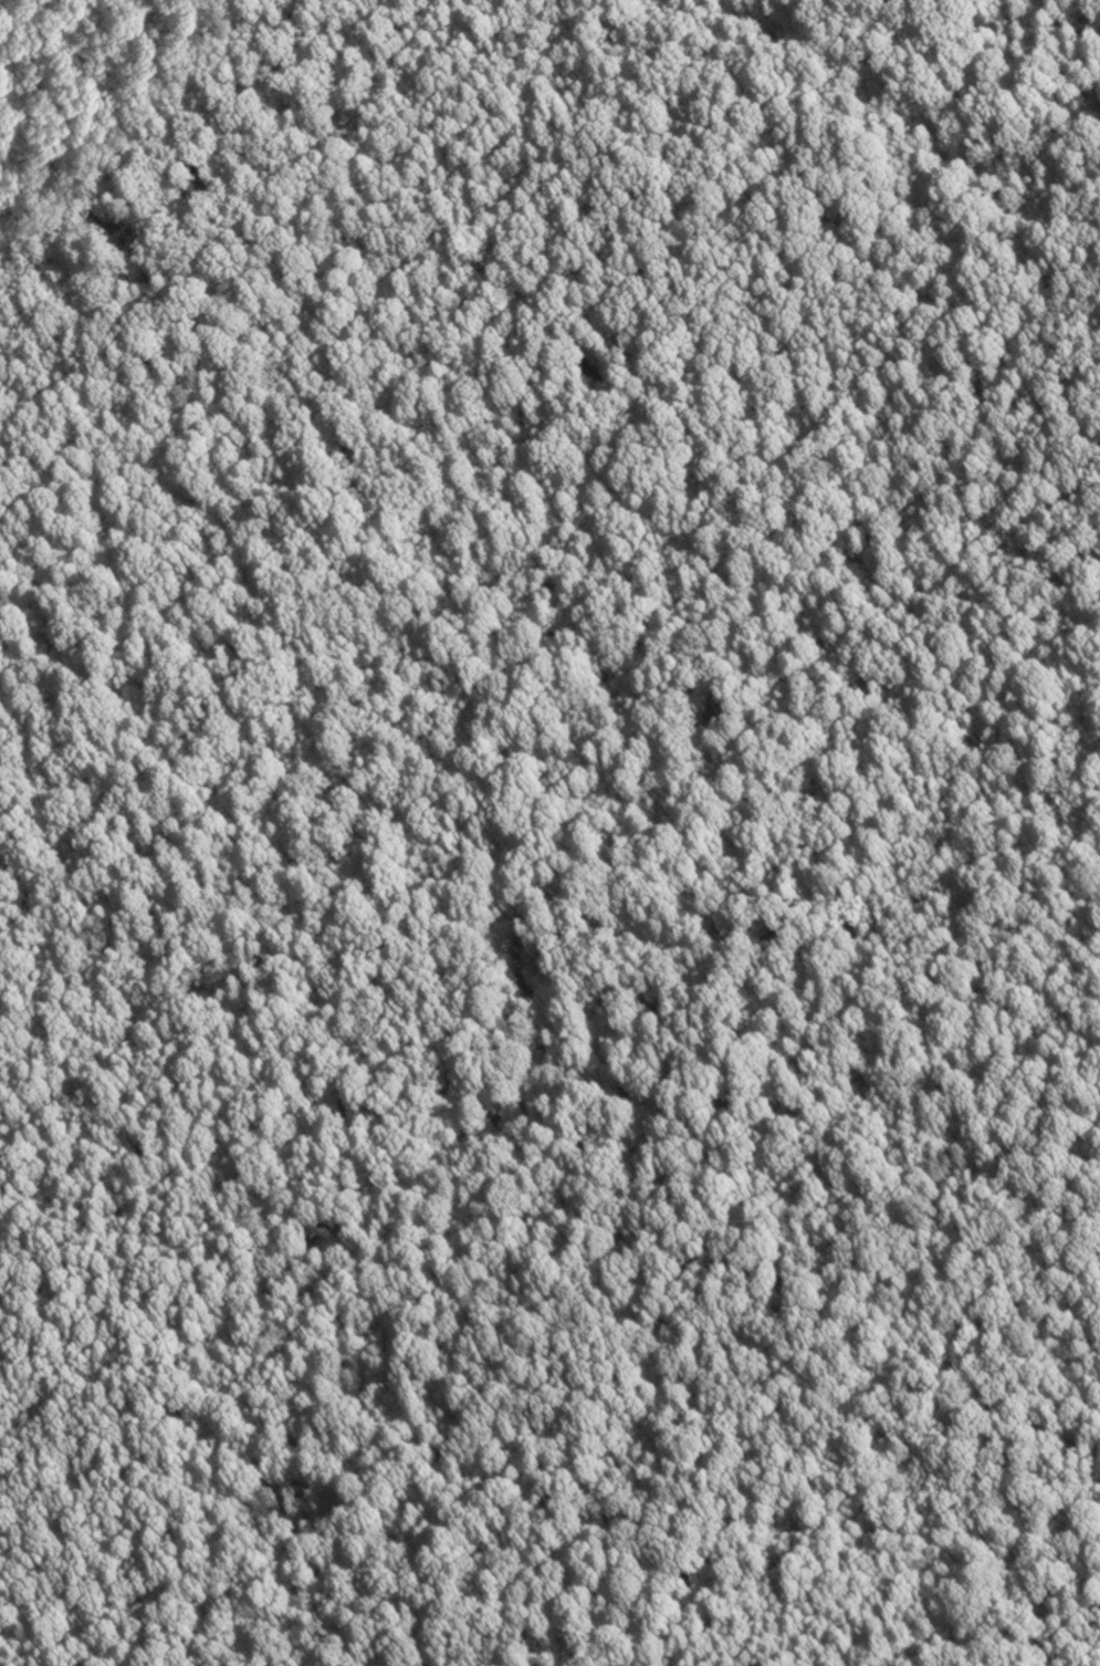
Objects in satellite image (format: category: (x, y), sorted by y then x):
road: (1040, 1599)

